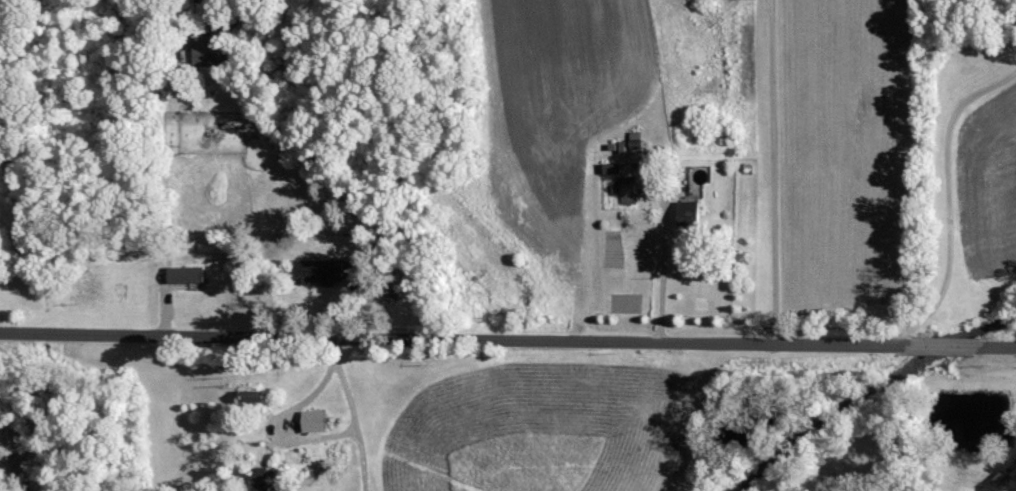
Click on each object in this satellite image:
building: (209, 48)
building: (613, 169)
building: (626, 190)
building: (330, 271)
building: (186, 276)
road: (507, 342)
road: (355, 414)
building: (315, 420)
building: (265, 481)

